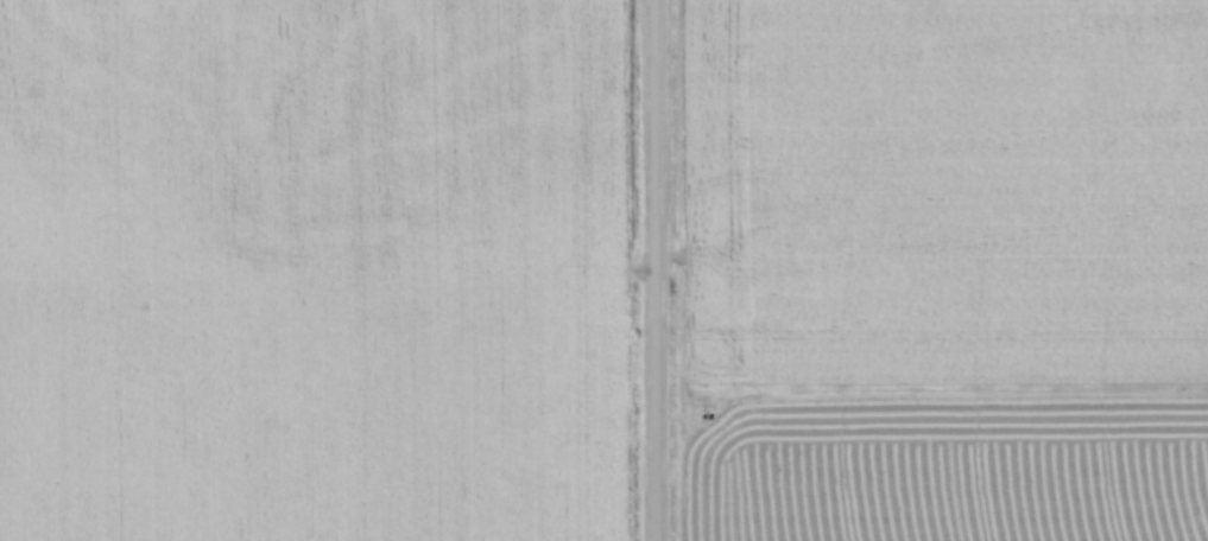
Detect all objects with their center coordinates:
road: (651, 270)

